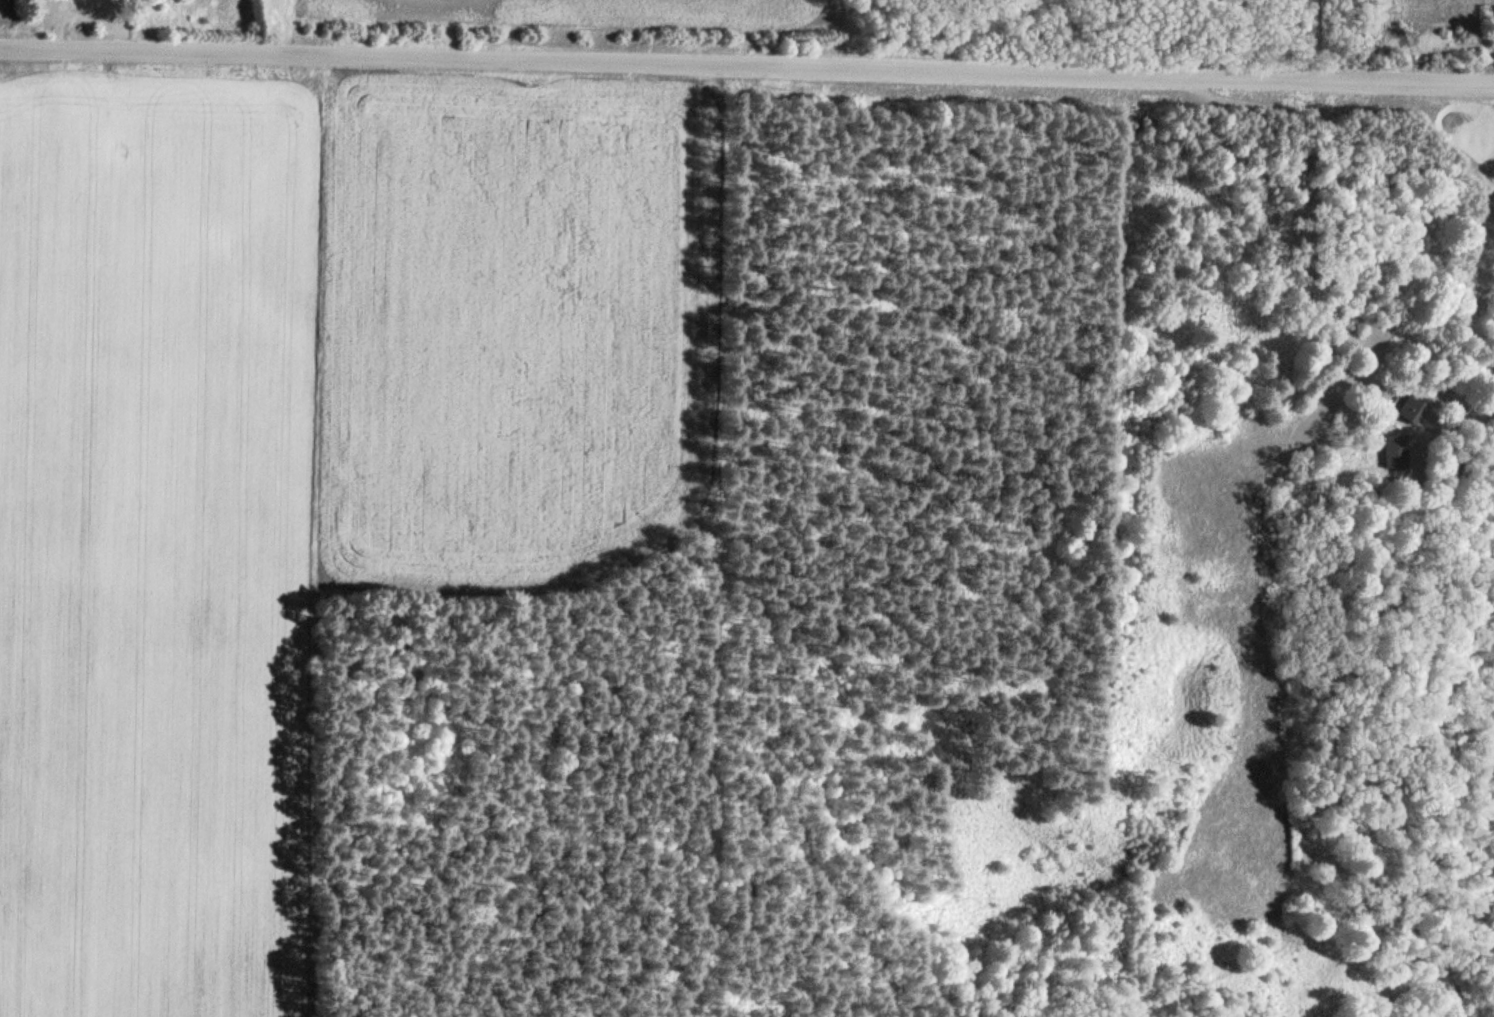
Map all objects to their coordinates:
road: (1308, 38)
road: (158, 50)
road: (905, 73)
road: (1348, 132)
building: (1408, 408)
road: (1460, 408)
building: (1395, 451)

